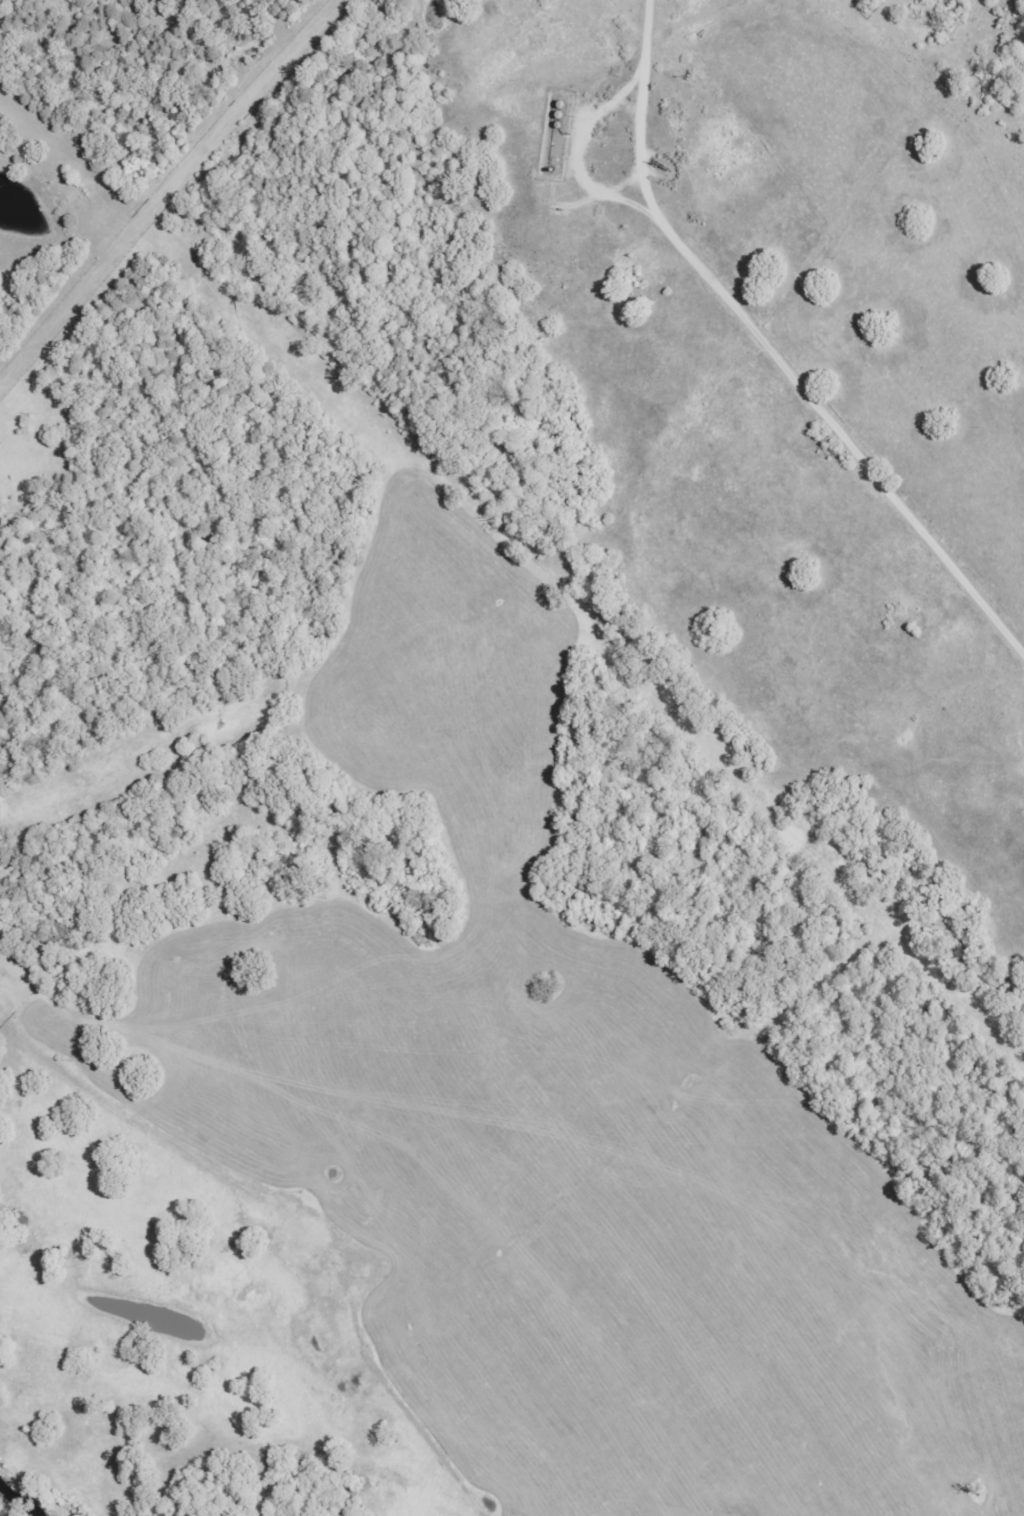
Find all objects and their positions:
petroleum well: (660, 162)

